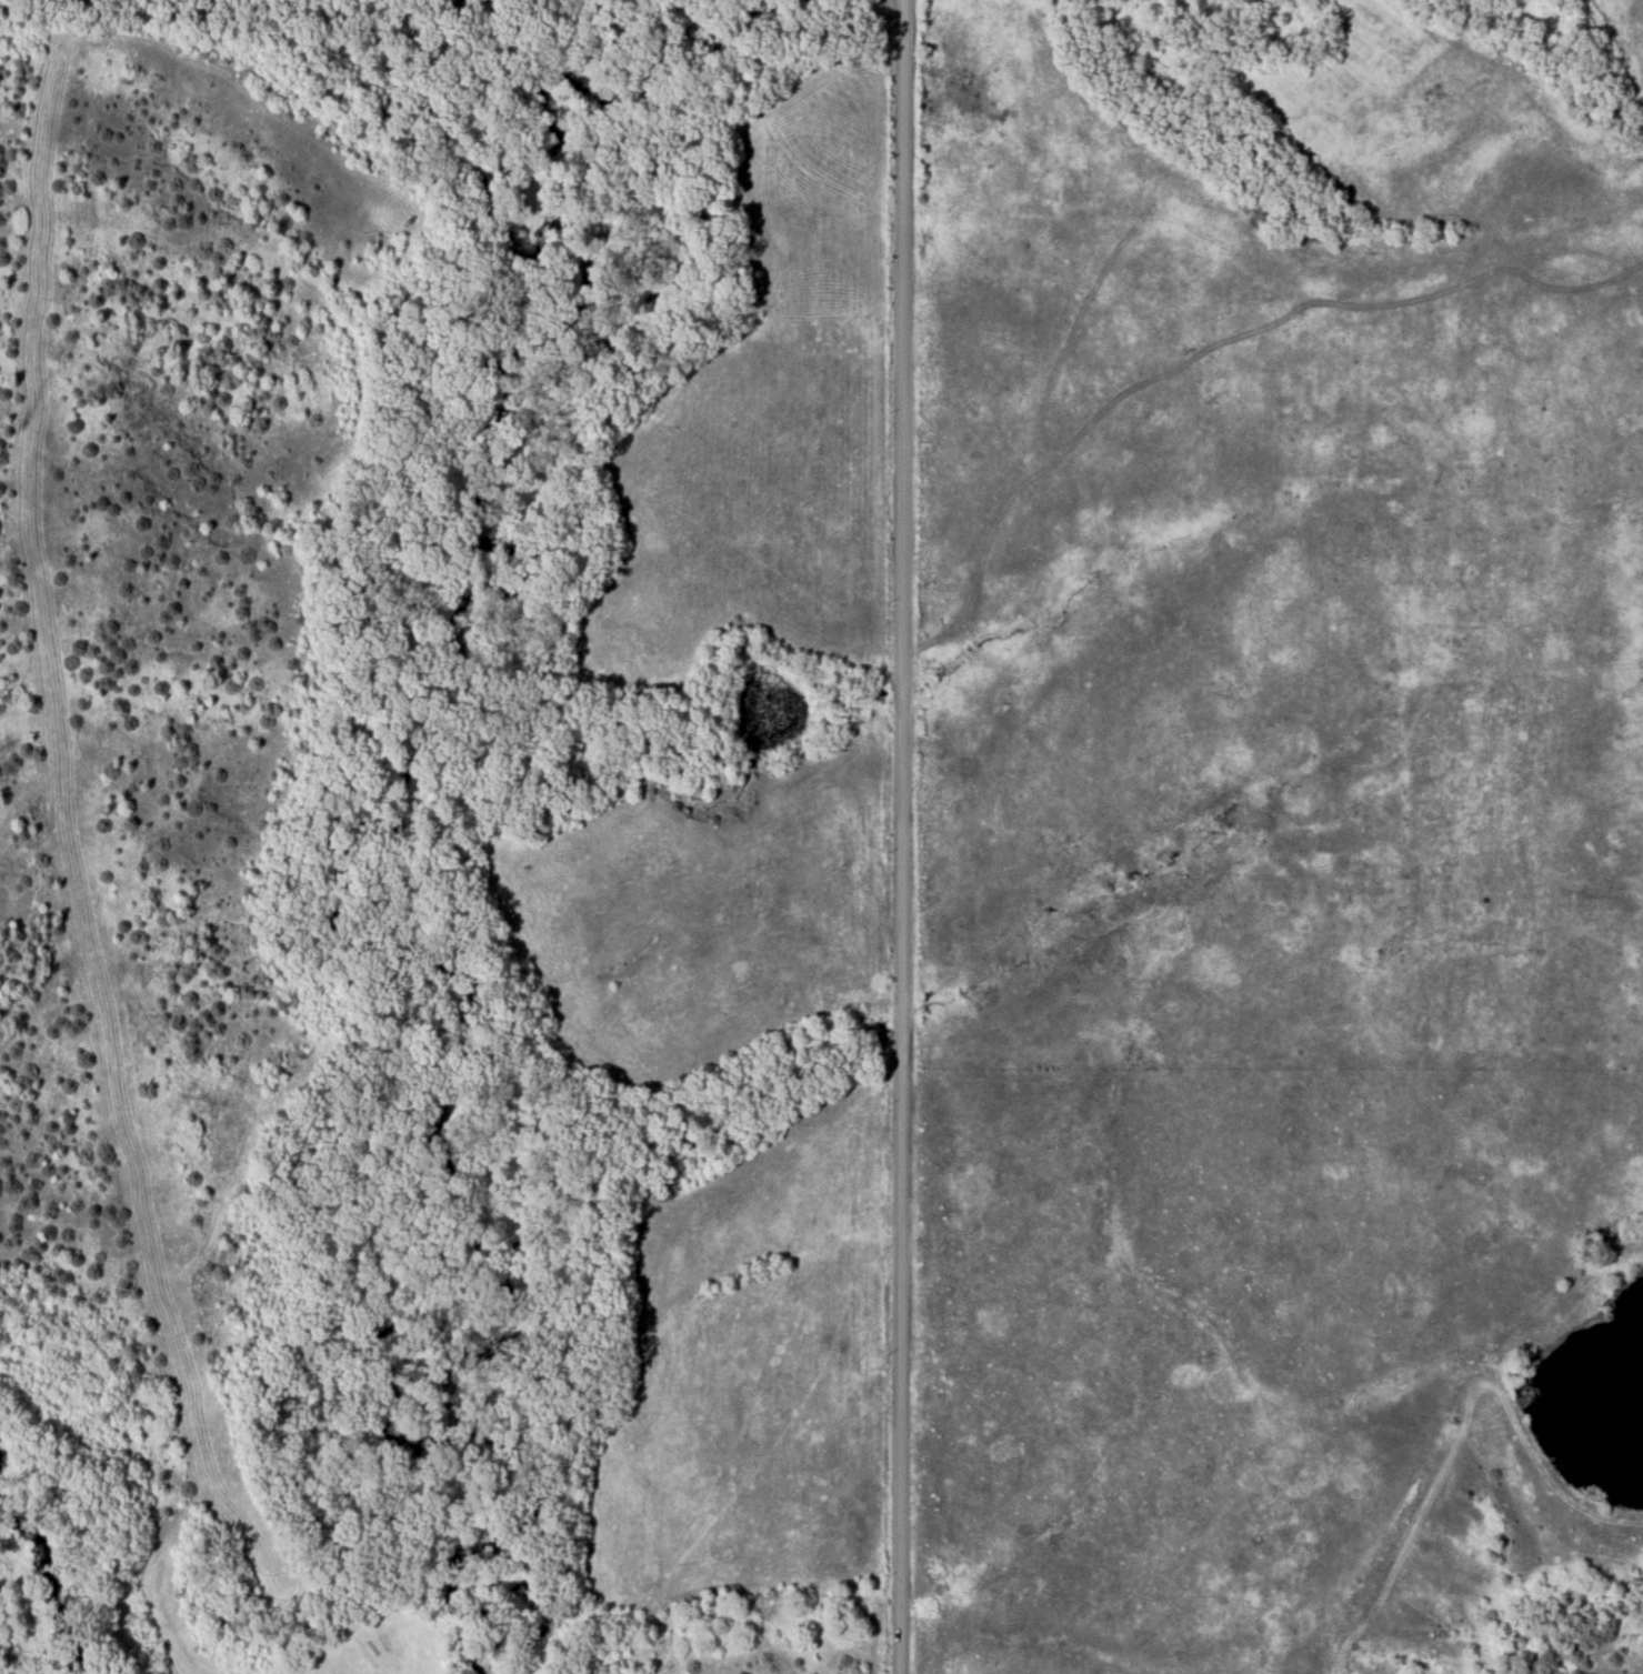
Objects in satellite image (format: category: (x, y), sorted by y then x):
road: (903, 836)
river: (46, 1584)

